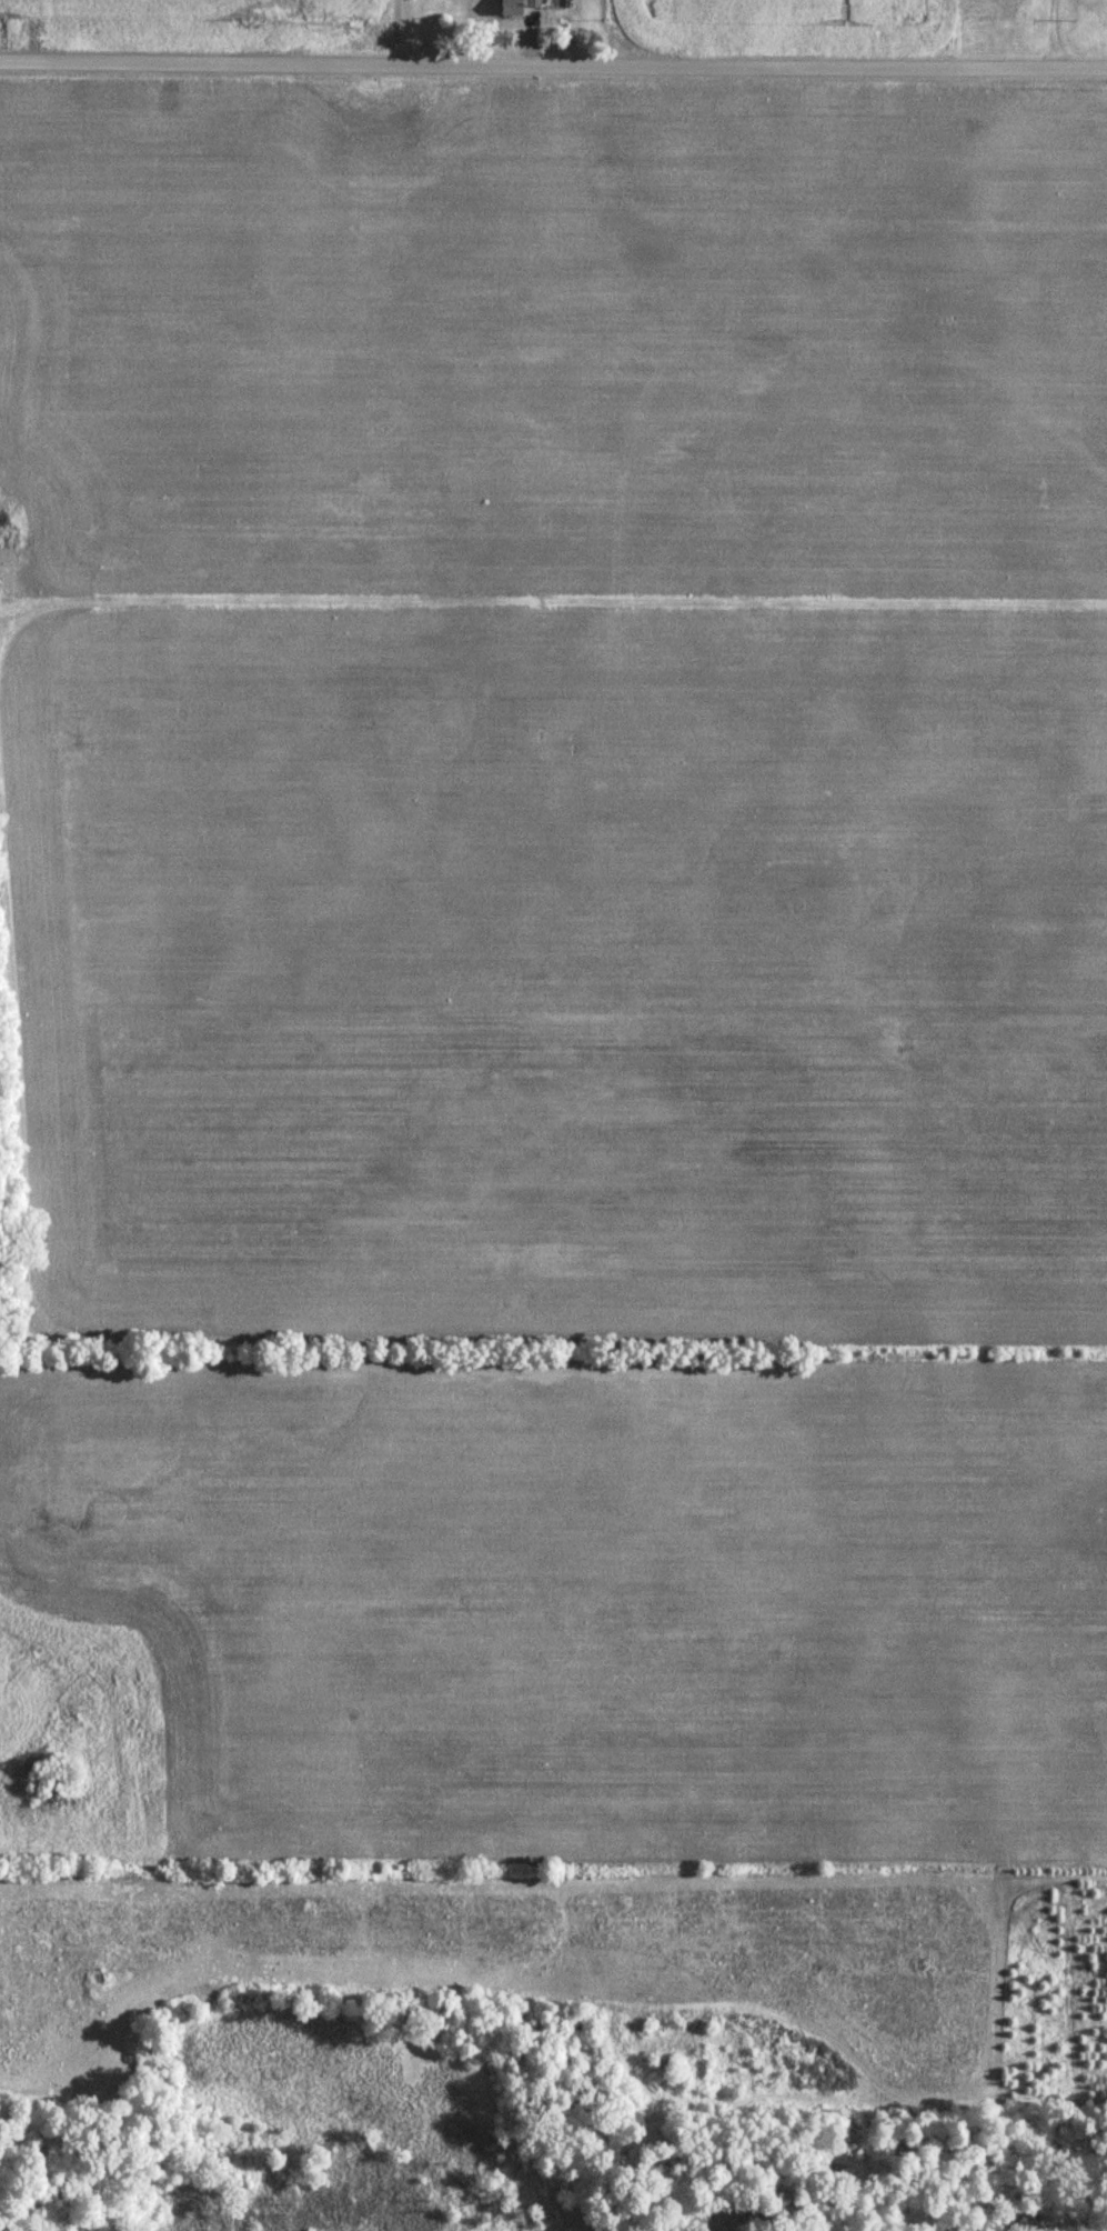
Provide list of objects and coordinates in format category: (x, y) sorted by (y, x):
building: (533, 4)
building: (510, 9)
road: (553, 67)

